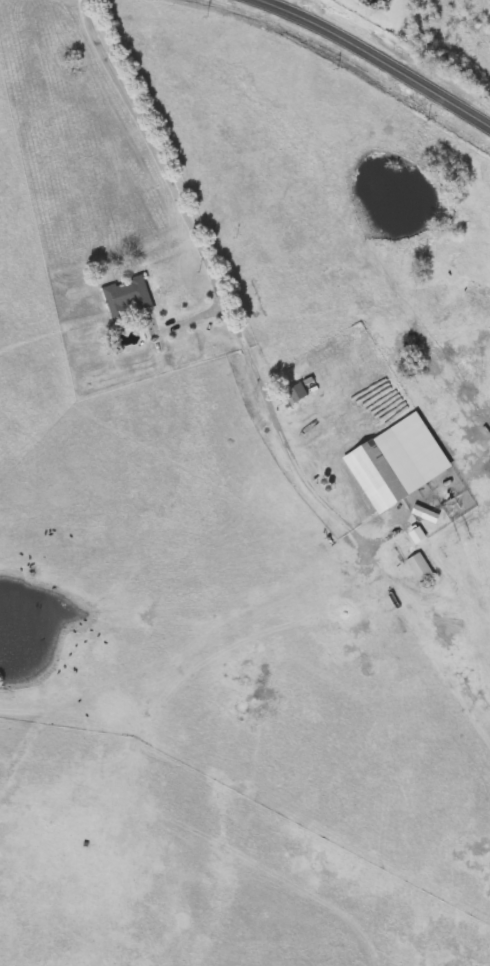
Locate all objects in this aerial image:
road: (287, 3)
road: (381, 54)
road: (217, 276)
building: (128, 299)
road: (197, 317)
building: (384, 470)
building: (420, 568)

